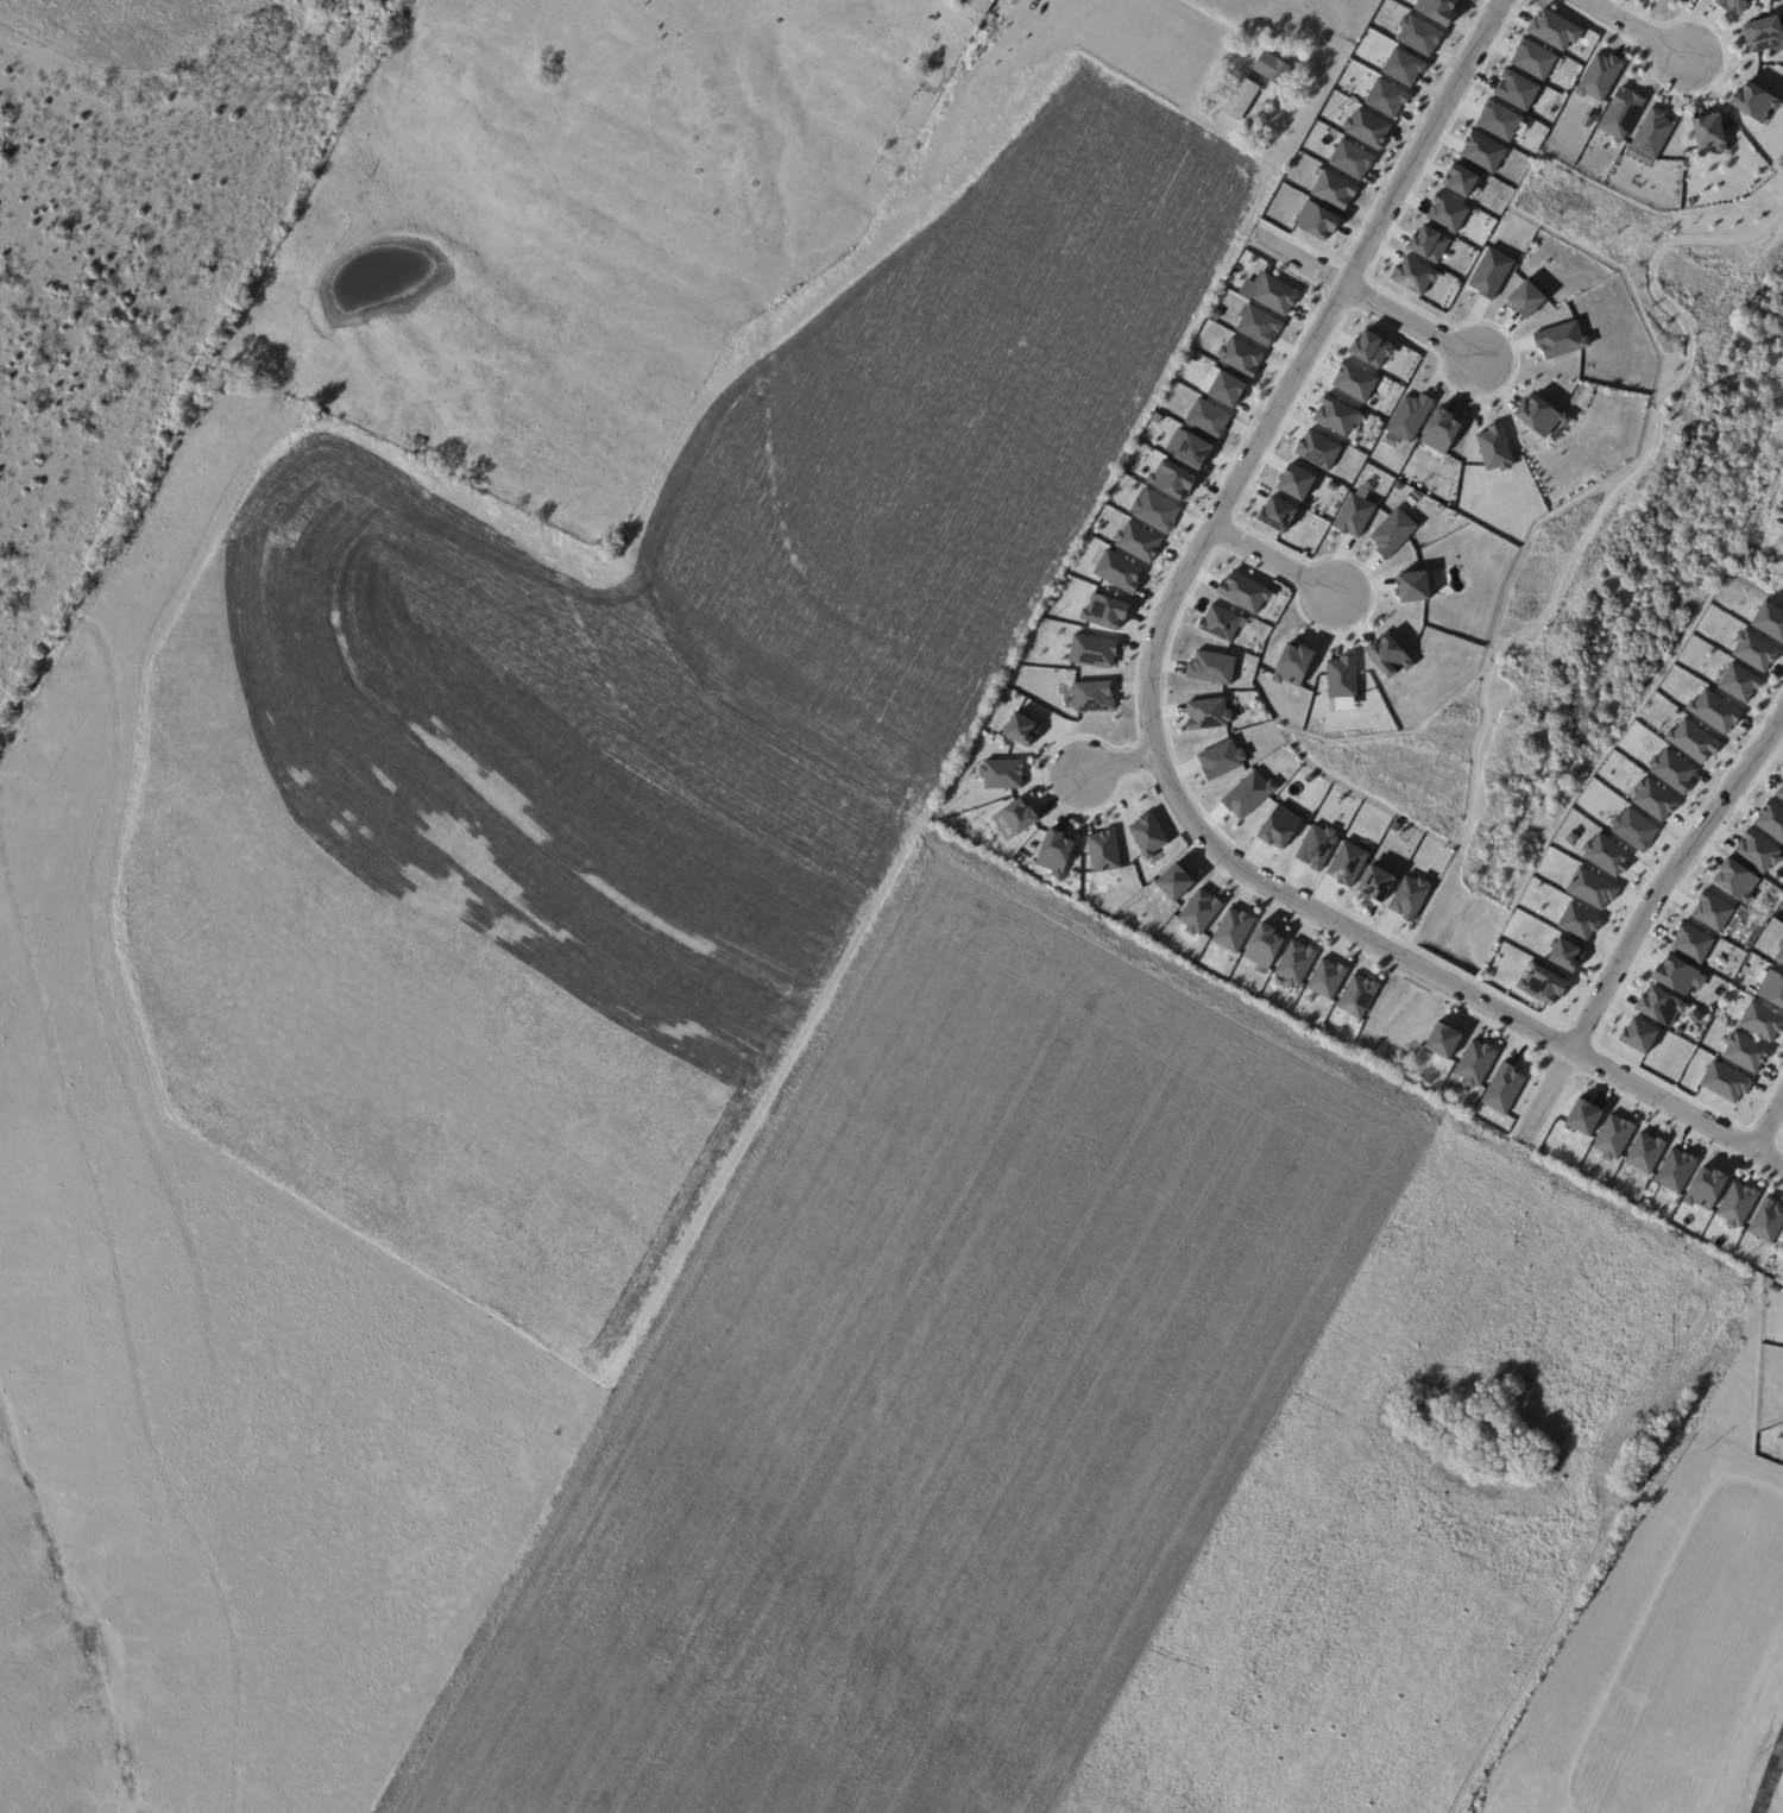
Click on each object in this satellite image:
building: (1732, 5)
building: (983, 6)
building: (1436, 10)
road: (1209, 13)
road: (1637, 26)
building: (1552, 29)
building: (1764, 33)
building: (1418, 34)
building: (1532, 59)
building: (1401, 67)
building: (1277, 70)
building: (1598, 76)
building: (1514, 89)
building: (1385, 97)
building: (1753, 101)
building: (1246, 102)
building: (1620, 112)
building: (1498, 120)
building: (1366, 127)
building: (1651, 132)
building: (1708, 133)
building: (1481, 151)
building: (1350, 159)
building: (1460, 180)
building: (1334, 189)
building: (1445, 212)
building: (1315, 220)
building: (1428, 244)
building: (1491, 272)
building: (1412, 275)
building: (1268, 292)
road: (1363, 295)
building: (1525, 298)
building: (1258, 326)
building: (1560, 339)
building: (1371, 348)
building: (1240, 355)
building: (1354, 380)
building: (1226, 389)
building: (1335, 415)
building: (1539, 415)
building: (1407, 417)
building: (1206, 418)
building: (1439, 430)
building: (1494, 447)
building: (1317, 449)
building: (1191, 451)
building: (1171, 480)
building: (1294, 481)
building: (1153, 510)
building: (1275, 512)
building: (1353, 515)
building: (1392, 531)
road: (1587, 533)
building: (1136, 541)
park: (1595, 553)
road: (1271, 558)
building: (1782, 558)
building: (1116, 571)
building: (1412, 586)
building: (1242, 592)
building: (1103, 611)
building: (1769, 621)
building: (1220, 623)
building: (1092, 650)
building: (1753, 650)
building: (1387, 655)
building: (1291, 665)
building: (1210, 667)
building: (1341, 678)
building: (1739, 682)
building: (1091, 697)
building: (1714, 711)
road: (1152, 713)
building: (1206, 713)
building: (1020, 729)
building: (1693, 741)
building: (1220, 758)
road: (1119, 763)
building: (1672, 770)
building: (1001, 773)
building: (1779, 791)
building: (1247, 793)
building: (1653, 799)
building: (1013, 817)
building: (1771, 820)
building: (1278, 826)
building: (1633, 829)
building: (1147, 835)
building: (1316, 845)
building: (1756, 850)
building: (1102, 851)
building: (1053, 852)
building: (1606, 854)
building: (1346, 863)
building: (1735, 880)
building: (1173, 881)
building: (1375, 882)
building: (1590, 888)
building: (1409, 896)
building: (1198, 911)
road: (1642, 911)
building: (1712, 911)
building: (1579, 920)
building: (1231, 928)
building: (1691, 942)
building: (1262, 945)
building: (1779, 952)
building: (1565, 955)
building: (1293, 963)
building: (1677, 975)
building: (1325, 978)
building: (1542, 983)
building: (1770, 987)
building: (1356, 996)
building: (1659, 1006)
building: (1762, 1020)
building: (1639, 1034)
building: (1441, 1040)
building: (1744, 1051)
building: (1475, 1062)
building: (1725, 1081)
building: (1502, 1088)
building: (1583, 1116)
road: (1770, 1125)
building: (1612, 1137)
building: (1644, 1152)
building: (1675, 1170)
building: (1705, 1186)
building: (1735, 1203)
building: (1766, 1221)
building: (1782, 1244)
road: (1770, 1779)

